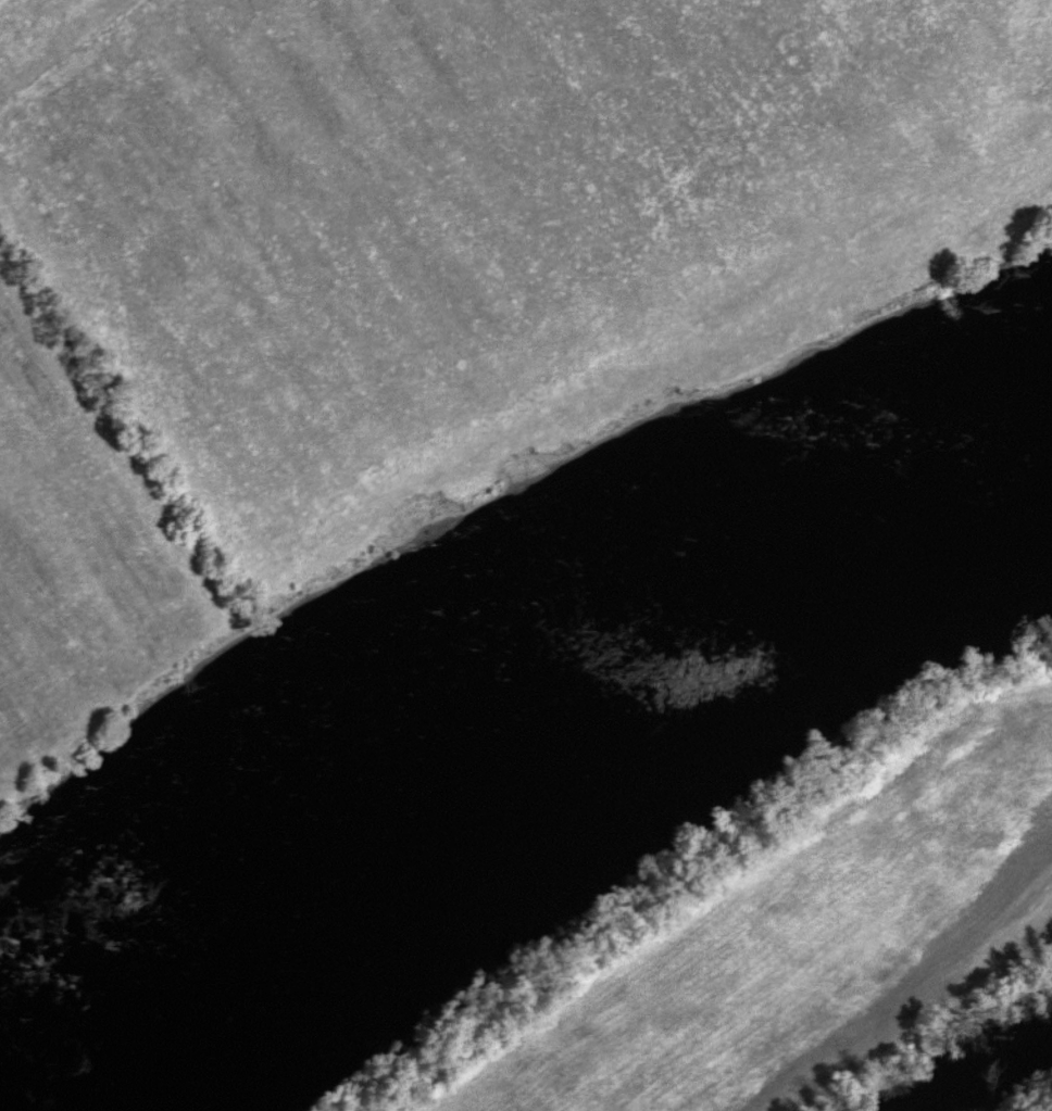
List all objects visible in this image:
river: (512, 724)

